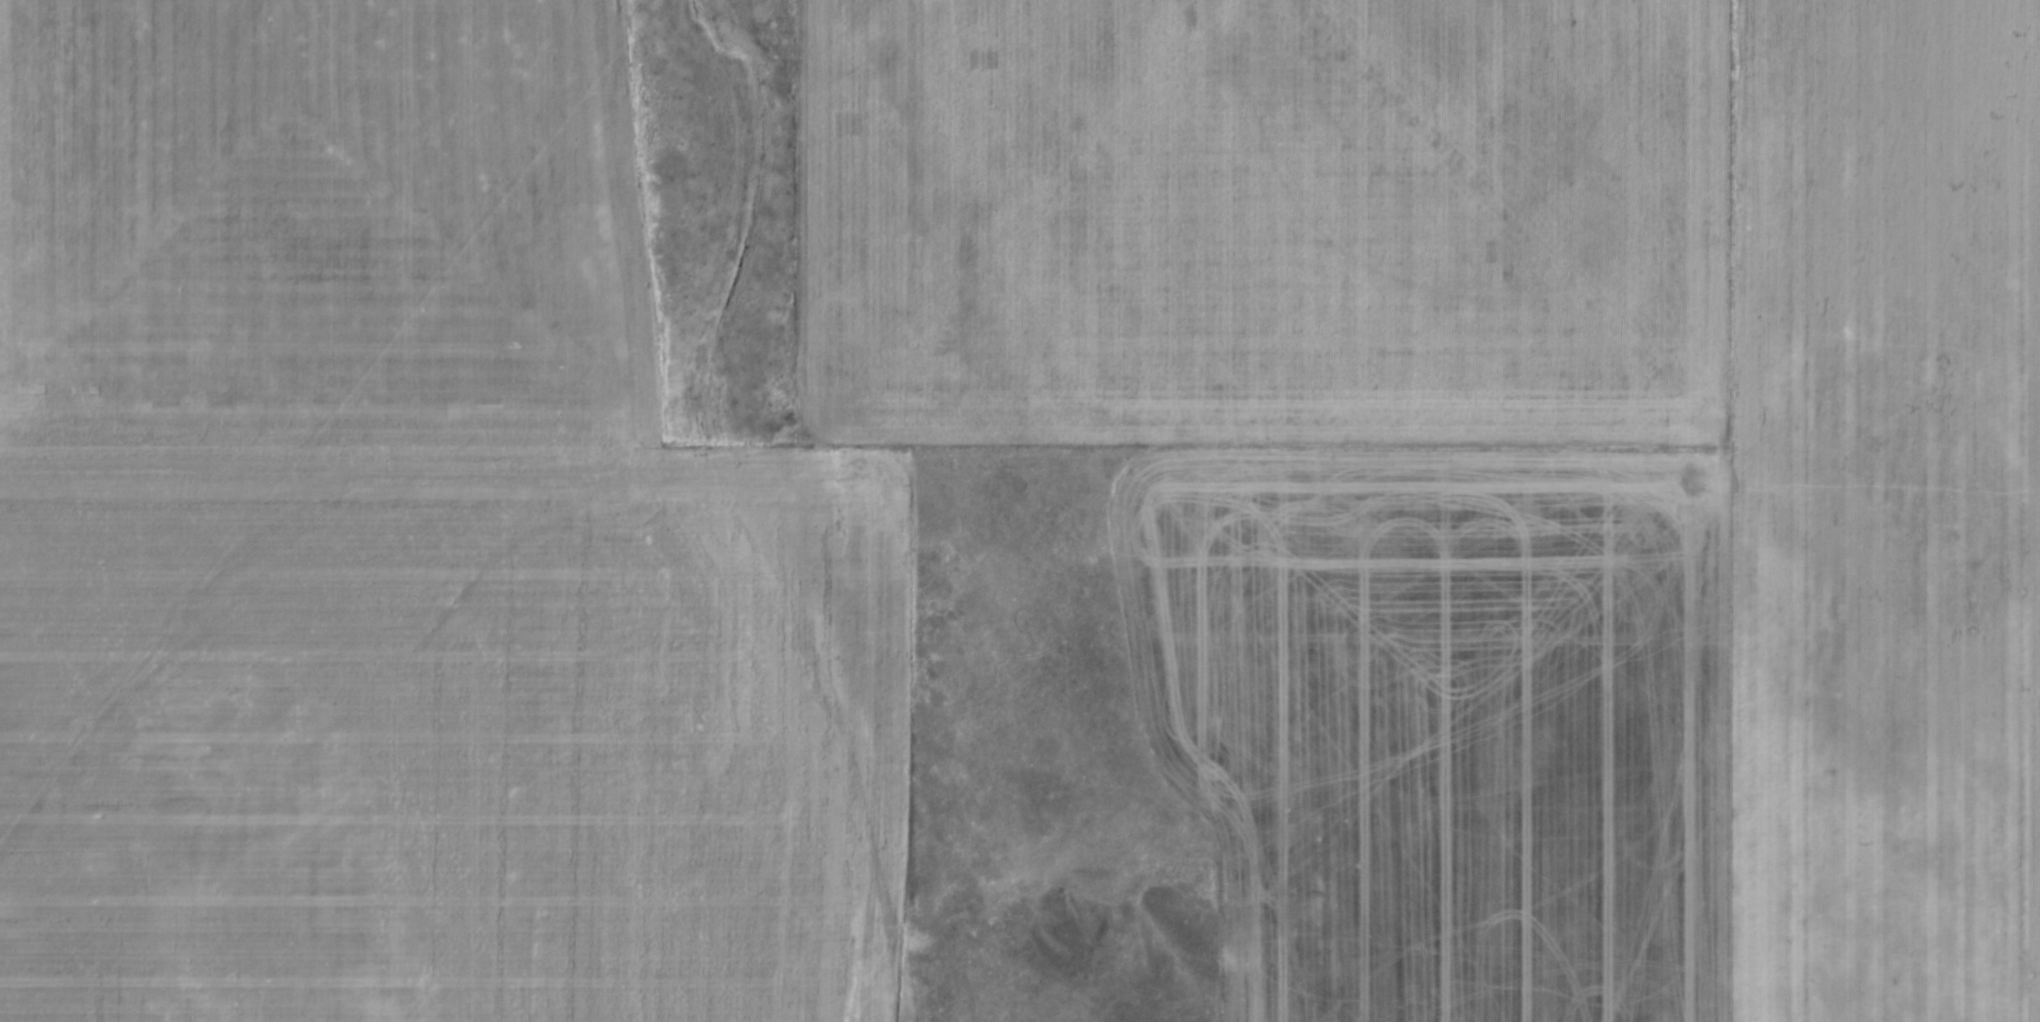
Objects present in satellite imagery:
crop: (1030, 520)

